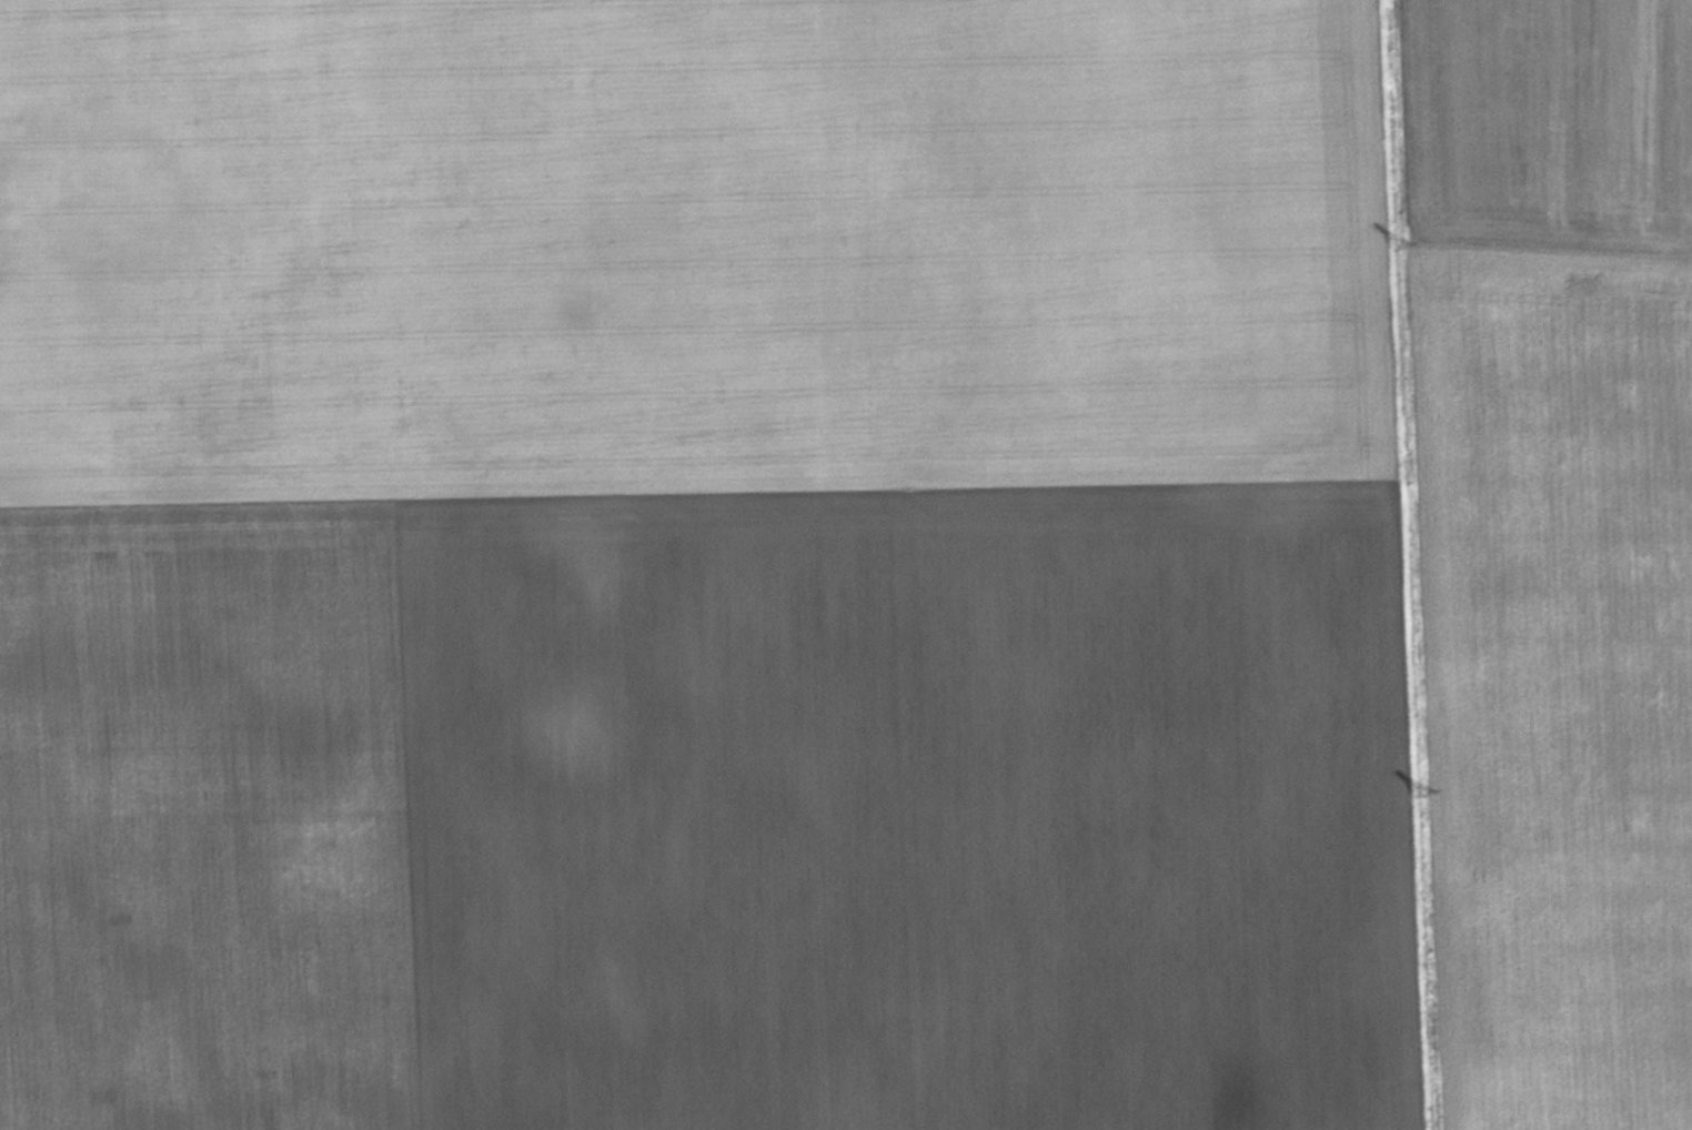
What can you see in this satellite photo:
power tower: (1398, 245)
power tower: (1424, 791)

